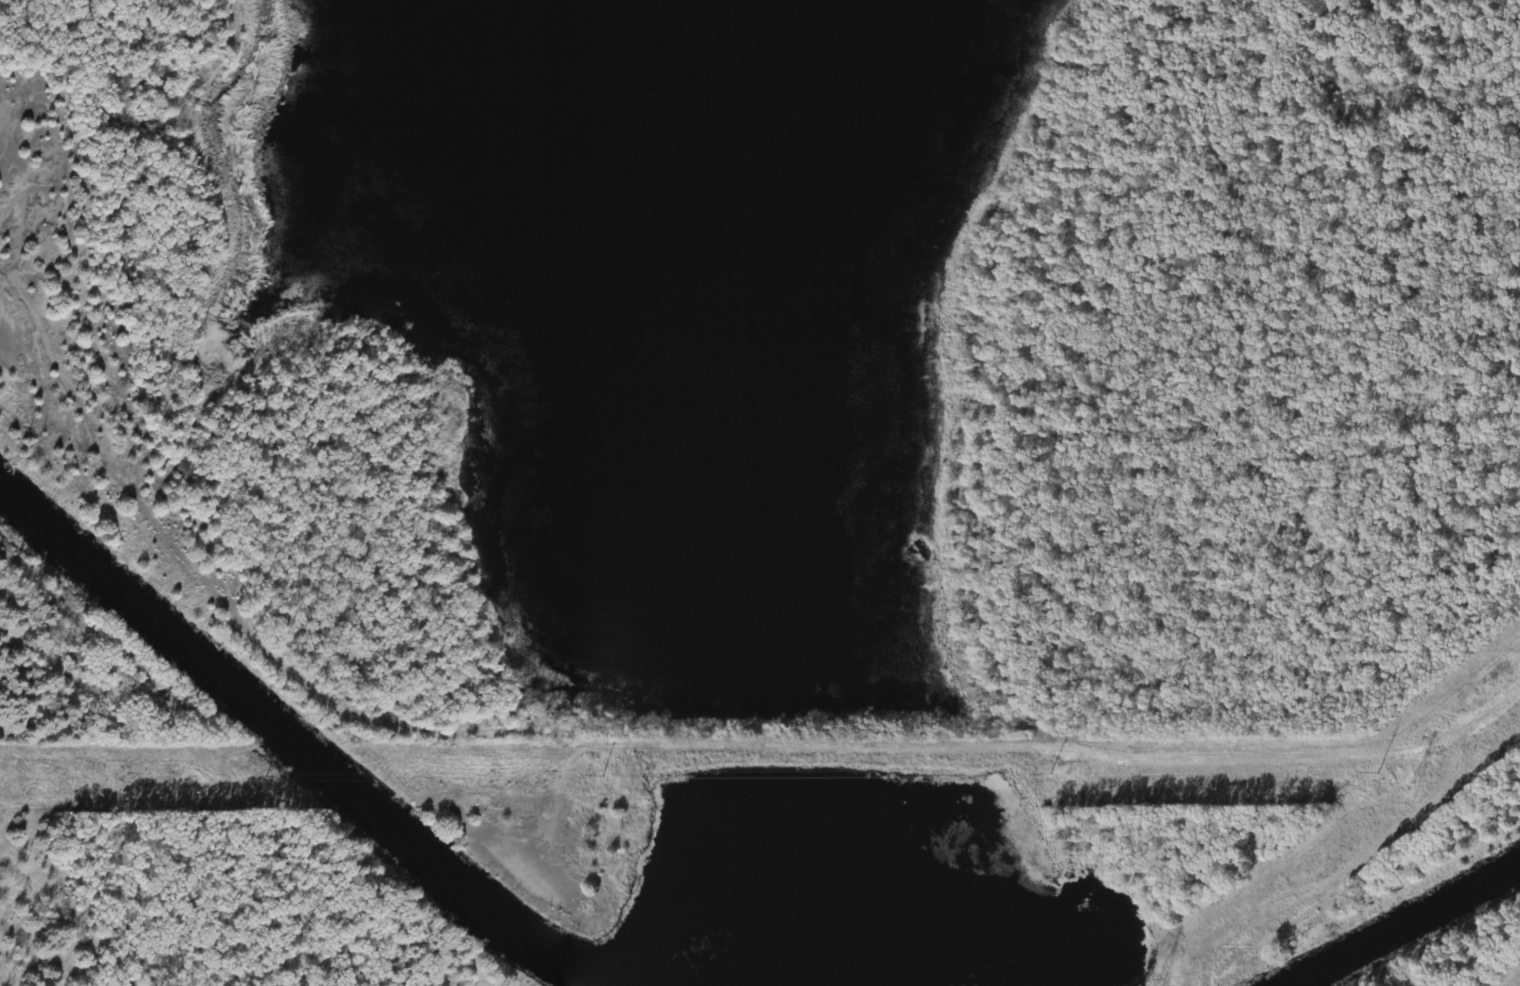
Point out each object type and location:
road: (908, 762)
power tower: (1377, 770)
power tower: (601, 776)
power tower: (1042, 776)
power tower: (268, 780)
power tower: (1407, 792)

